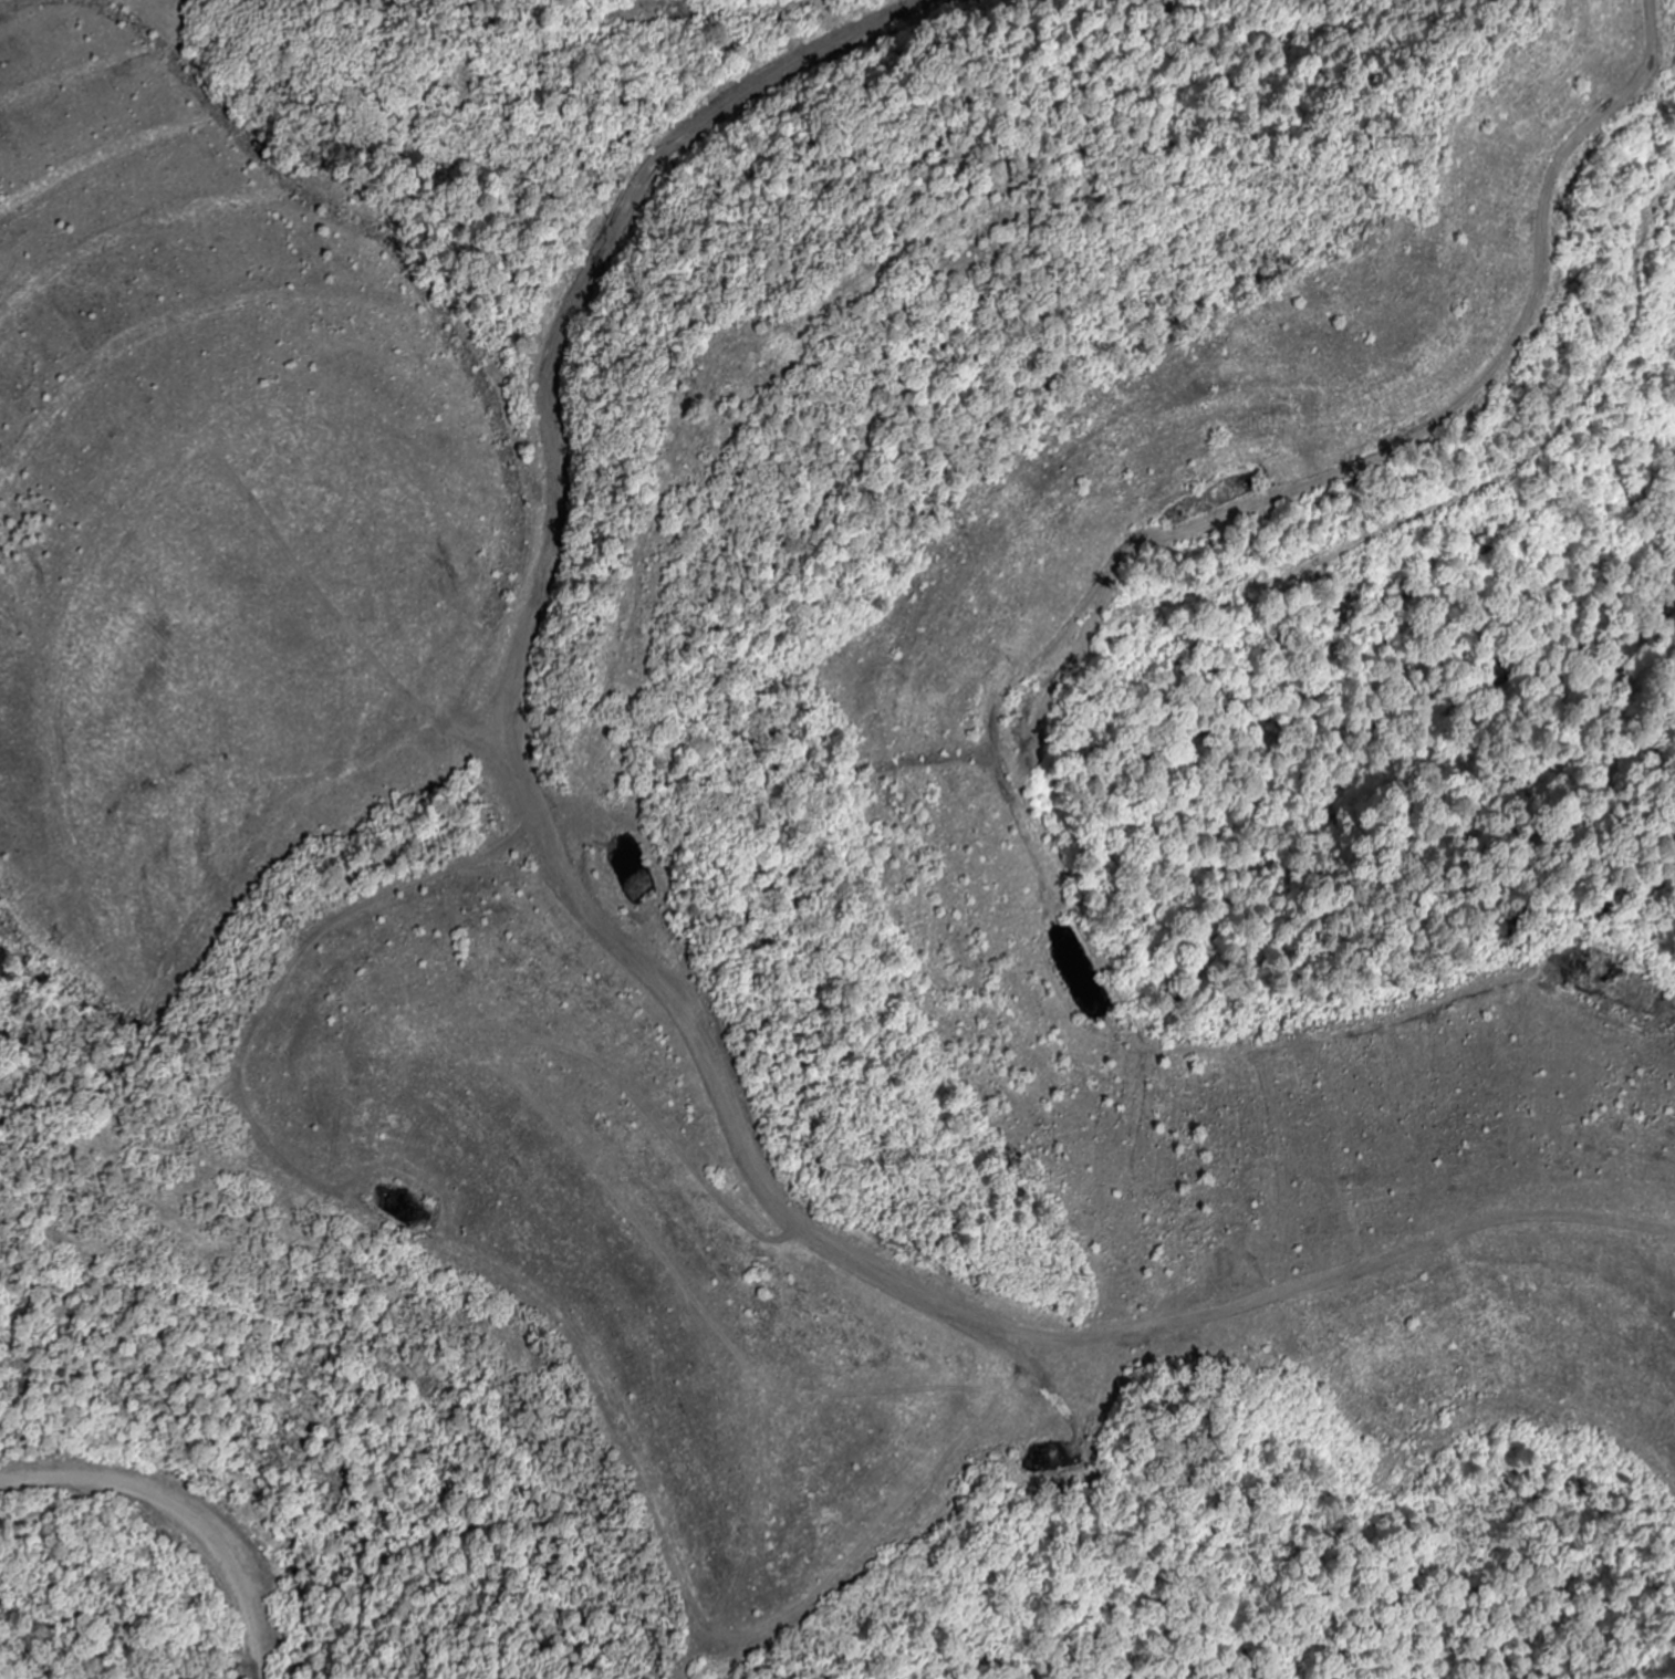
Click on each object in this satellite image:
building: (926, 823)
building: (1331, 1067)

